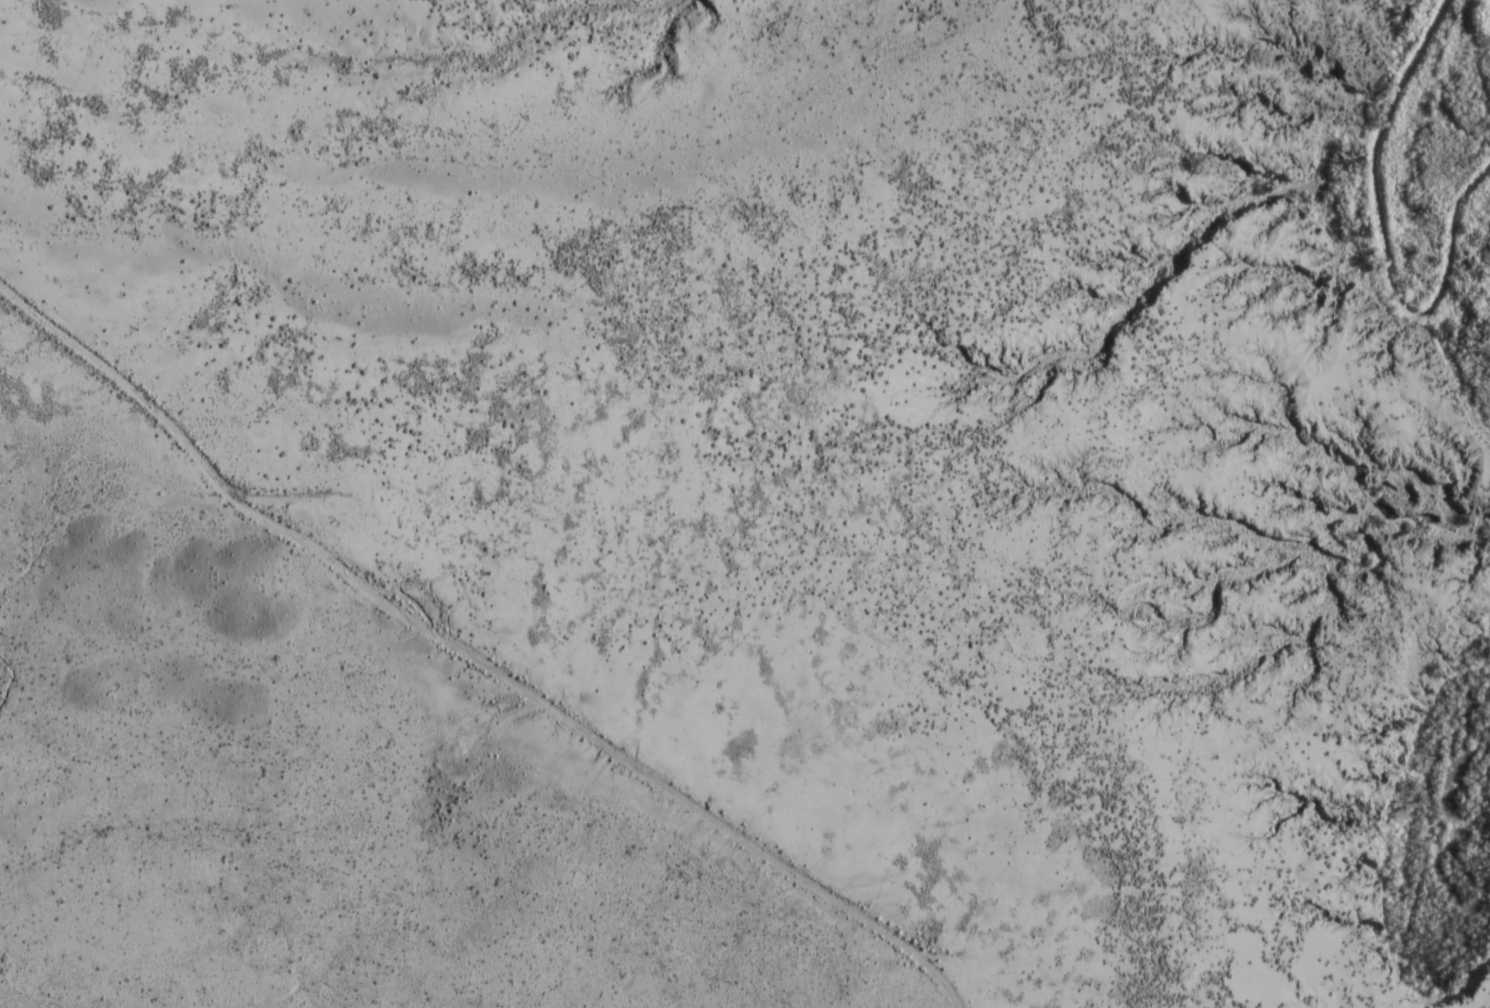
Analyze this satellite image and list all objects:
road: (467, 656)

